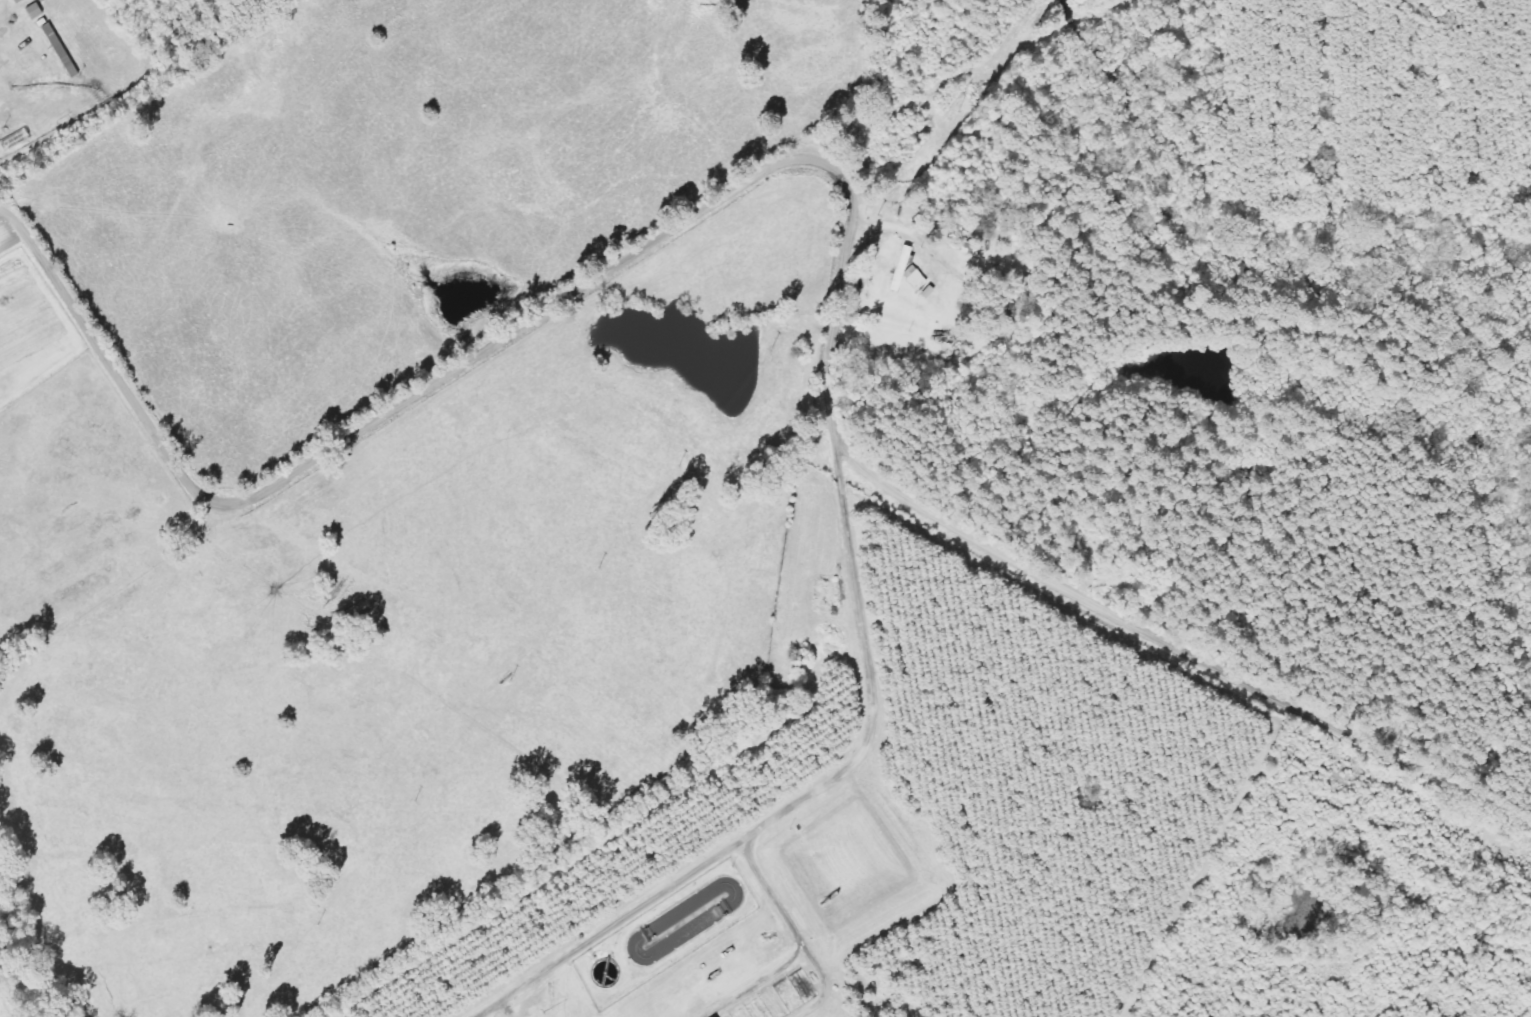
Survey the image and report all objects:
building: (22, 1)
building: (39, 10)
road: (308, 462)
road: (990, 543)

